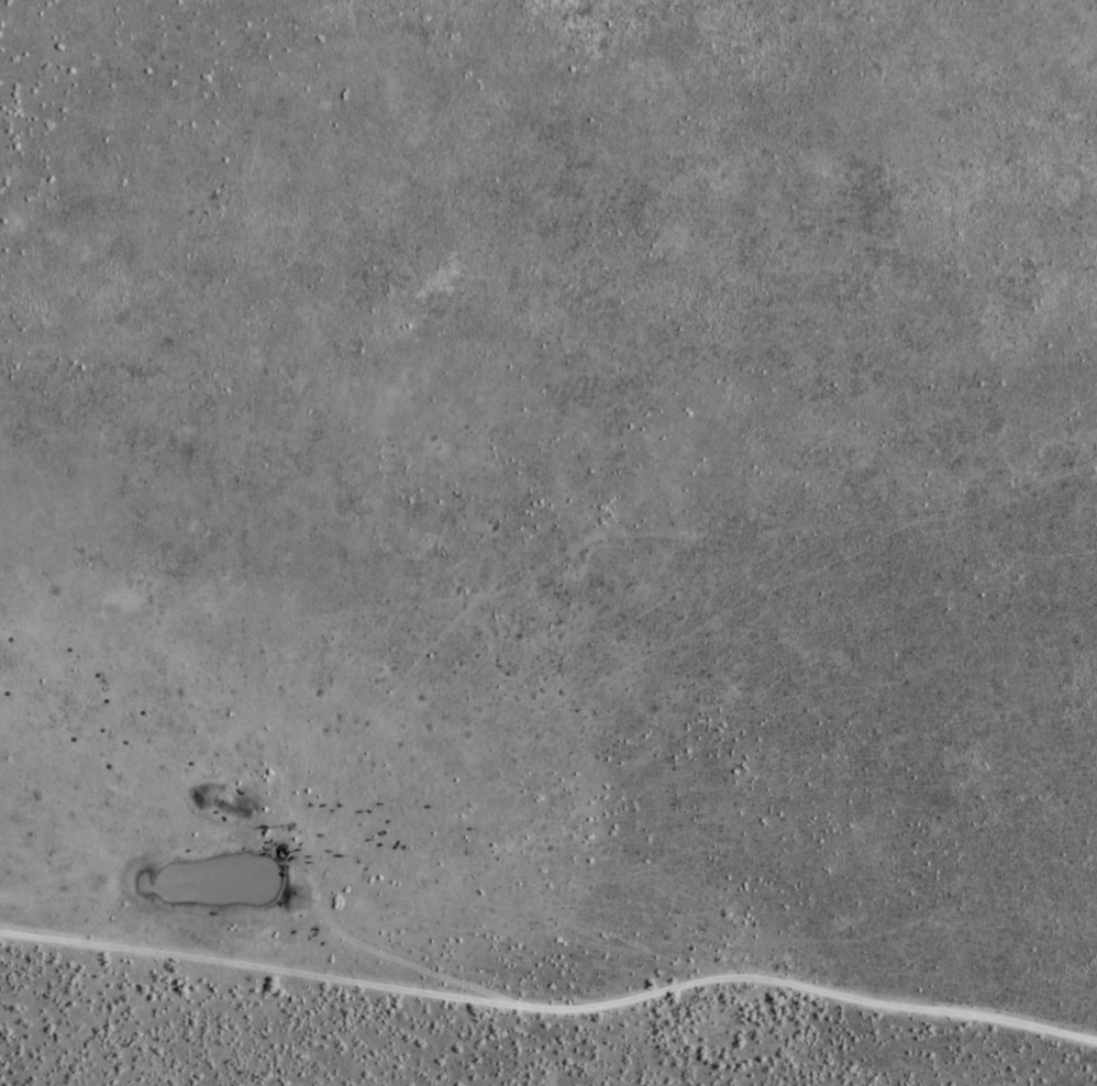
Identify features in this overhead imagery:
road: (551, 995)

